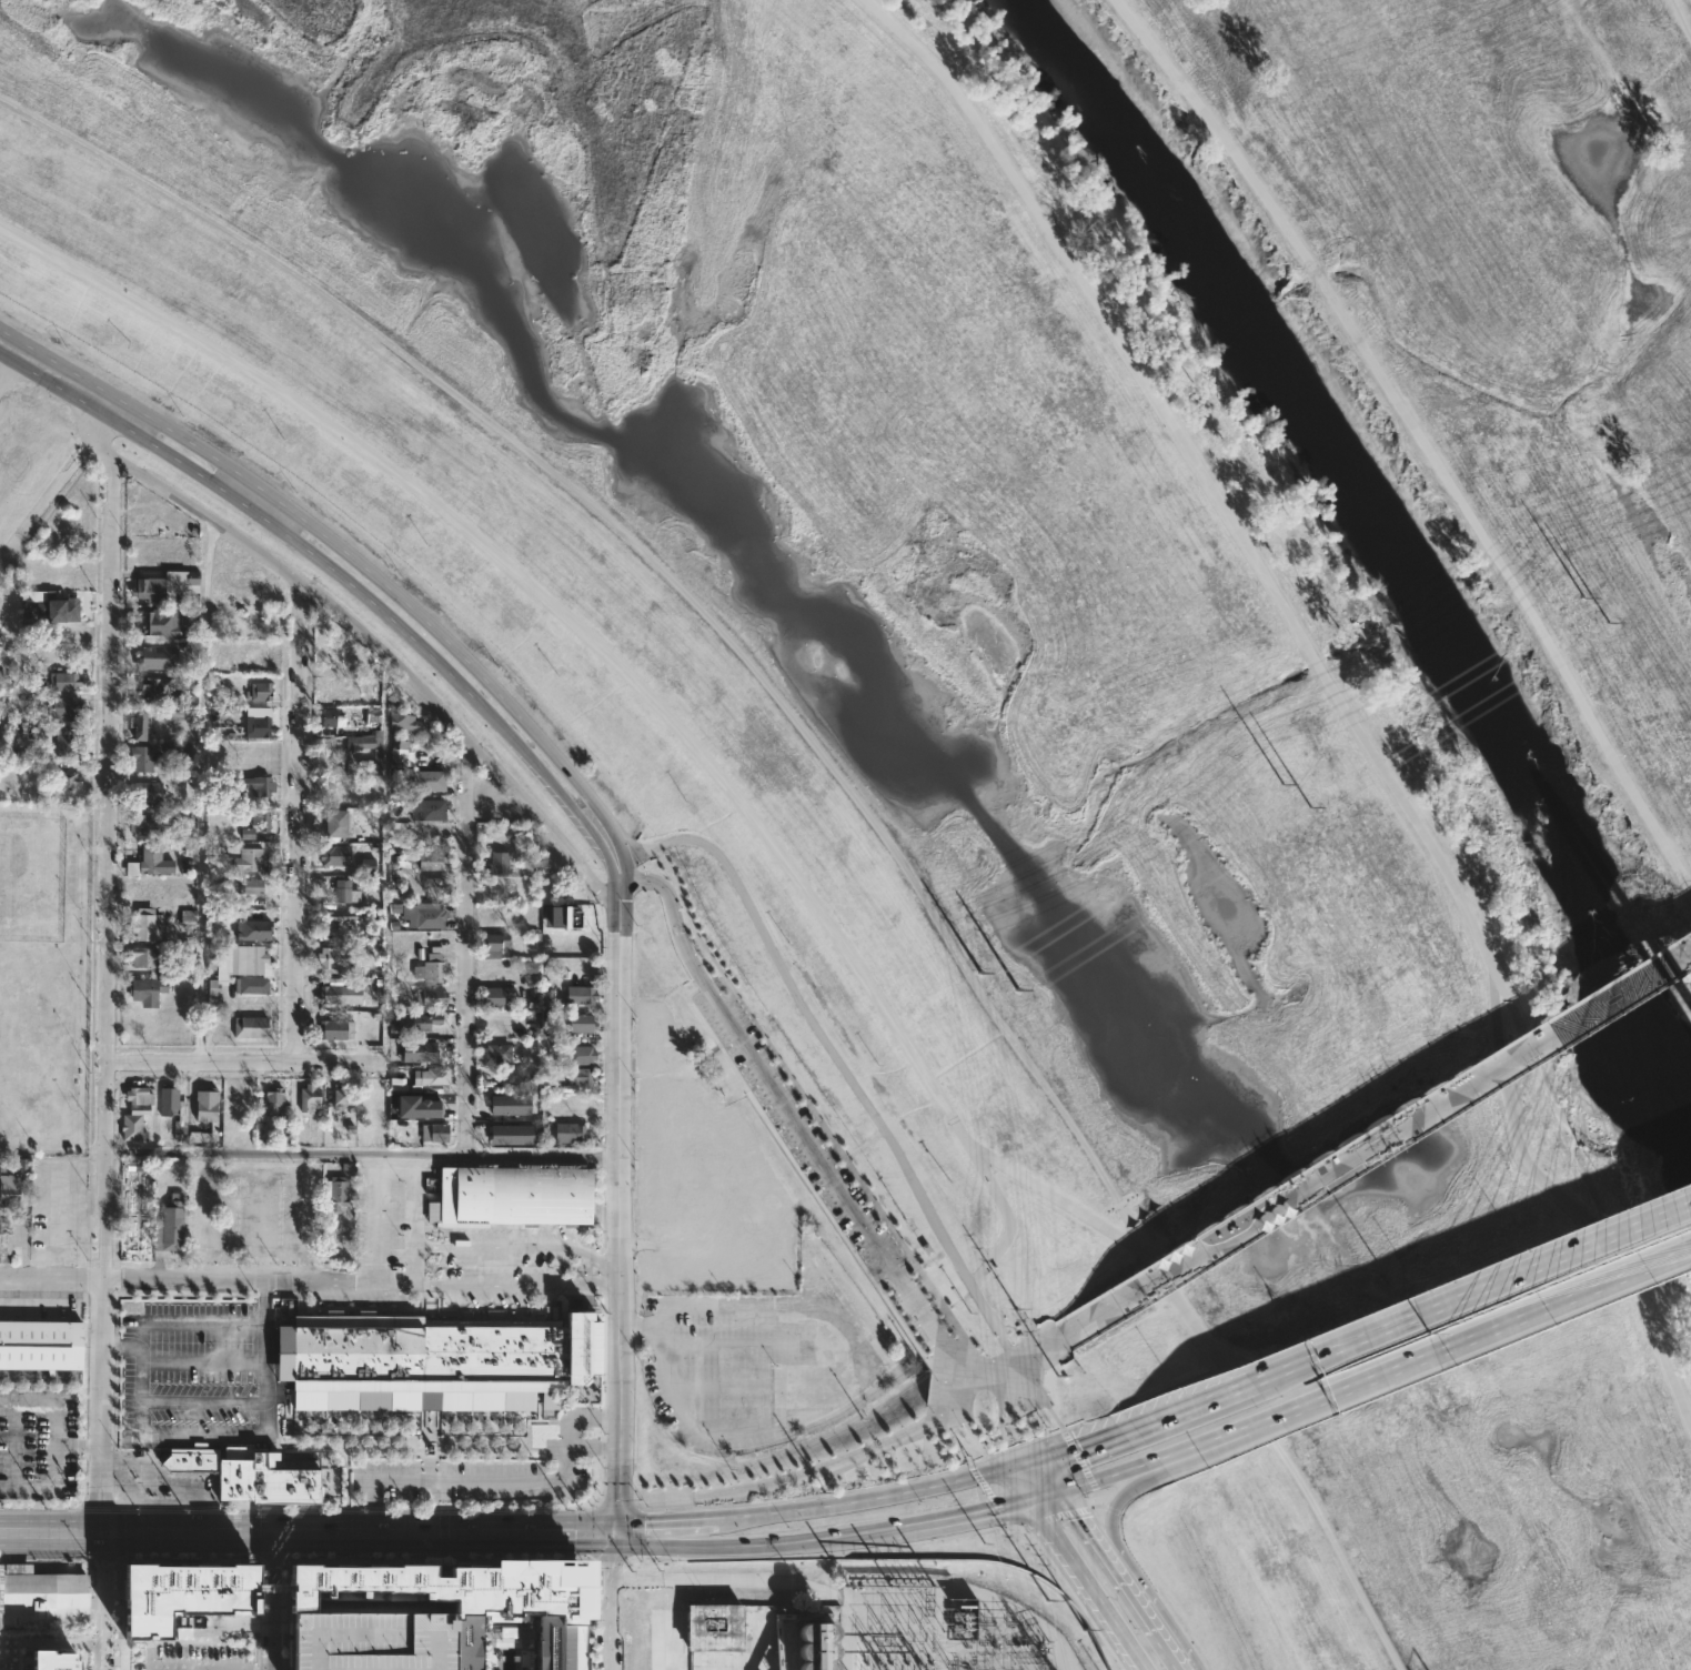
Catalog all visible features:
road: (1679, 19)
road: (3, 350)
road: (110, 420)
road: (1412, 436)
road: (105, 449)
road: (48, 500)
road: (256, 501)
road: (246, 506)
road: (288, 510)
building: (143, 524)
river: (1369, 541)
road: (654, 562)
building: (164, 586)
road: (546, 596)
power tower: (1582, 598)
building: (63, 612)
power tower: (1603, 622)
building: (160, 623)
building: (2, 652)
park: (1069, 653)
building: (154, 657)
building: (260, 657)
road: (387, 657)
building: (62, 681)
road: (1329, 681)
building: (335, 687)
building: (157, 688)
building: (258, 691)
building: (62, 708)
building: (177, 712)
building: (323, 716)
building: (404, 718)
building: (138, 725)
building: (256, 726)
building: (62, 740)
building: (368, 742)
building: (174, 747)
building: (397, 752)
building: (142, 758)
road: (538, 766)
building: (64, 781)
building: (424, 781)
power tower: (1290, 783)
building: (255, 785)
road: (576, 786)
building: (145, 791)
road: (202, 792)
power tower: (1310, 805)
building: (429, 809)
building: (495, 811)
building: (261, 819)
road: (295, 821)
building: (335, 823)
building: (143, 825)
building: (248, 833)
building: (331, 855)
road: (615, 857)
building: (149, 858)
building: (246, 859)
building: (430, 859)
building: (499, 863)
building: (368, 866)
park: (30, 877)
building: (434, 885)
building: (239, 886)
building: (143, 889)
building: (344, 891)
road: (618, 893)
road: (464, 904)
building: (427, 915)
building: (562, 916)
building: (333, 918)
building: (145, 925)
building: (251, 929)
building: (493, 944)
building: (331, 957)
building: (144, 959)
building: (242, 962)
building: (429, 968)
park: (43, 976)
power tower: (983, 976)
building: (250, 985)
power tower: (1019, 986)
building: (150, 989)
building: (353, 990)
road: (108, 993)
building: (580, 995)
building: (494, 996)
building: (429, 997)
building: (415, 1022)
building: (580, 1023)
building: (250, 1027)
building: (331, 1029)
building: (548, 1048)
building: (415, 1052)
building: (495, 1054)
road: (832, 1054)
building: (581, 1055)
road: (242, 1060)
road: (755, 1064)
building: (583, 1077)
building: (426, 1078)
building: (521, 1078)
building: (137, 1096)
road: (615, 1097)
river: (1688, 1097)
building: (309, 1099)
building: (272, 1100)
building: (342, 1100)
building: (205, 1105)
building: (509, 1105)
building: (172, 1109)
building: (419, 1109)
road: (466, 1113)
building: (132, 1124)
building: (573, 1131)
building: (433, 1133)
building: (510, 1135)
road: (1376, 1138)
parking lot: (807, 1139)
road: (360, 1155)
road: (979, 1167)
road: (396, 1169)
parking lot: (703, 1175)
building: (9, 1191)
building: (336, 1193)
building: (513, 1196)
road: (1055, 1199)
parking lot: (252, 1211)
parking lot: (390, 1215)
building: (168, 1228)
road: (668, 1240)
road: (1584, 1241)
building: (4, 1247)
road: (519, 1247)
road: (995, 1251)
park: (791, 1264)
road: (289, 1267)
road: (208, 1278)
road: (1169, 1284)
road: (516, 1285)
road: (1442, 1302)
power tower: (1017, 1314)
road: (1504, 1316)
road: (182, 1321)
road: (841, 1322)
road: (1356, 1339)
road: (755, 1342)
road: (122, 1345)
building: (40, 1346)
road: (1008, 1346)
building: (429, 1356)
road: (264, 1360)
parking lot: (739, 1370)
parking lot: (187, 1372)
power tower: (1056, 1376)
road: (141, 1380)
road: (670, 1380)
road: (765, 1385)
road: (1219, 1394)
road: (616, 1408)
road: (53, 1416)
road: (1238, 1428)
road: (1084, 1446)
traffic signals: (1078, 1448)
road: (993, 1457)
road: (1080, 1460)
road: (1018, 1462)
road: (1145, 1466)
road: (1124, 1471)
building: (244, 1475)
road: (1044, 1476)
road: (1127, 1478)
road: (481, 1480)
parking lot: (466, 1481)
road: (1084, 1481)
road: (761, 1482)
road: (1014, 1483)
road: (862, 1497)
road: (1039, 1497)
road: (39, 1507)
road: (100, 1507)
traffic signals: (989, 1511)
road: (356, 1512)
road: (1317, 1512)
road: (1001, 1516)
road: (955, 1519)
traffic signals: (1071, 1519)
road: (694, 1525)
road: (252, 1528)
road: (558, 1530)
traffic signals: (613, 1530)
road: (641, 1530)
road: (828, 1536)
road: (721, 1546)
road: (722, 1581)
road: (1139, 1581)
road: (1111, 1582)
road: (1083, 1586)
building: (42, 1596)
building: (183, 1596)
building: (471, 1597)
road: (108, 1599)
road: (271, 1599)
road: (610, 1599)
power tower: (1048, 1603)
road: (227, 1620)
power substation: (938, 1626)
building: (713, 1628)
power tower: (1080, 1630)
building: (183, 1633)
building: (373, 1638)
parking lot: (373, 1638)
building: (505, 1643)
building: (815, 1646)
parking lot: (193, 1659)
building: (52, 1661)

